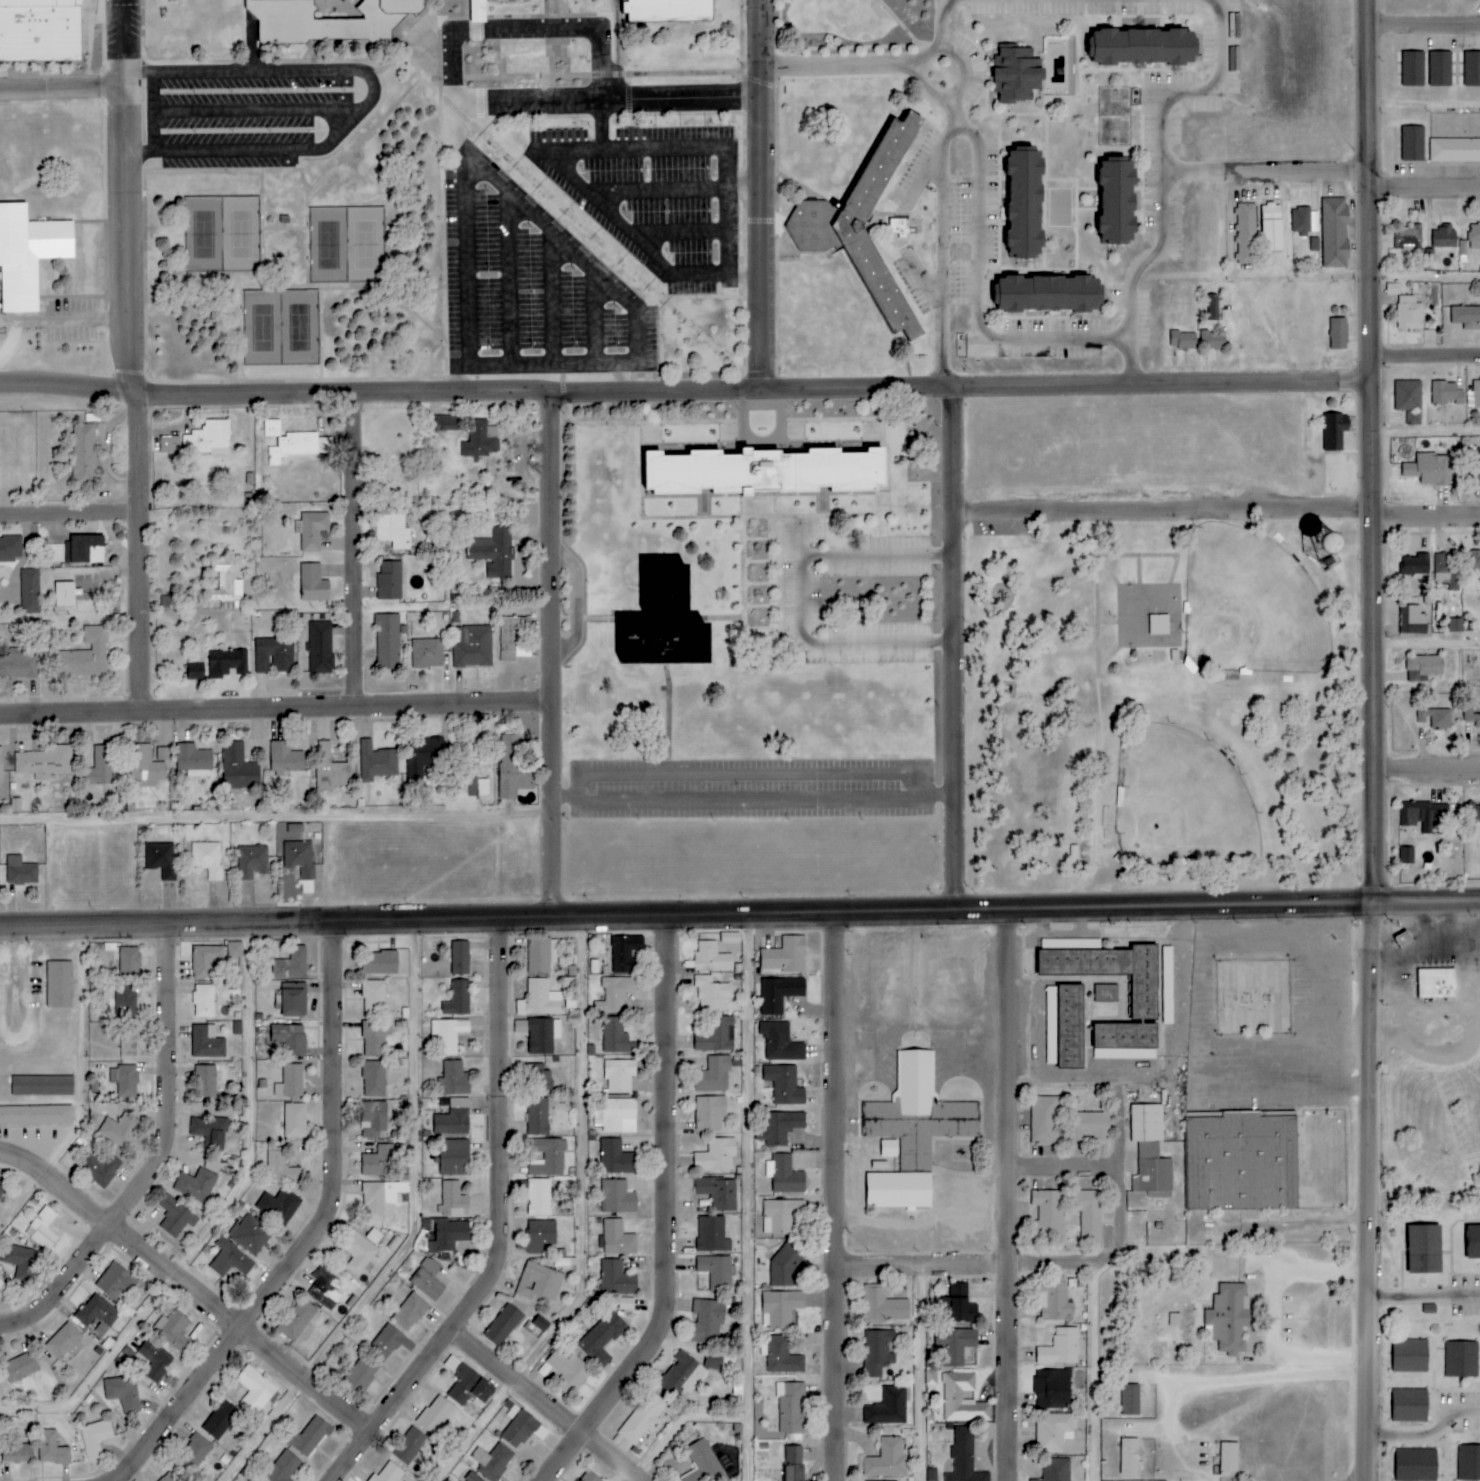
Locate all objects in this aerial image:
building: (669, 10)
building: (473, 11)
building: (294, 22)
road: (940, 22)
road: (1422, 23)
road: (525, 29)
building: (40, 30)
road: (412, 36)
road: (122, 43)
building: (1141, 48)
road: (309, 53)
road: (420, 53)
road: (621, 62)
road: (839, 65)
building: (1413, 69)
building: (1440, 69)
building: (1472, 69)
road: (278, 71)
road: (137, 73)
road: (639, 74)
building: (1016, 75)
road: (478, 78)
road: (1365, 85)
road: (61, 88)
road: (382, 89)
road: (956, 89)
road: (1191, 89)
road: (678, 99)
road: (527, 102)
road: (1423, 104)
road: (258, 110)
road: (151, 113)
parking lot: (251, 114)
road: (454, 122)
road: (600, 124)
road: (956, 131)
building: (1412, 144)
road: (696, 146)
building: (1454, 150)
road: (266, 151)
road: (137, 153)
road: (235, 171)
road: (1279, 174)
road: (742, 182)
road: (1423, 188)
road: (655, 190)
road: (759, 195)
building: (1115, 203)
parking lot: (569, 205)
building: (1023, 205)
road: (260, 220)
building: (1301, 221)
road: (305, 224)
building: (899, 228)
building: (1271, 228)
road: (283, 229)
building: (863, 230)
road: (677, 233)
building: (1334, 233)
park: (220, 234)
building: (1246, 234)
building: (1444, 236)
building: (1474, 236)
road: (442, 237)
road: (942, 238)
building: (1408, 239)
road: (637, 240)
road: (599, 244)
park: (345, 245)
building: (1314, 245)
building: (1463, 248)
road: (1153, 250)
building: (28, 254)
road: (464, 260)
road: (581, 260)
road: (1423, 277)
road: (508, 278)
road: (978, 295)
building: (1045, 295)
road: (551, 298)
road: (704, 298)
building: (1409, 313)
building: (1466, 316)
road: (593, 317)
parking lot: (70, 320)
road: (86, 320)
park: (279, 327)
building: (1338, 333)
building: (1213, 340)
building: (1183, 341)
road: (1424, 356)
road: (538, 365)
road: (458, 378)
road: (65, 385)
road: (957, 387)
road: (338, 393)
building: (1446, 393)
building: (1474, 396)
road: (132, 399)
building: (1409, 400)
building: (448, 422)
road: (745, 425)
building: (271, 428)
building: (1334, 431)
road: (1424, 431)
road: (747, 434)
building: (207, 439)
building: (481, 439)
building: (169, 444)
building: (299, 447)
building: (83, 453)
building: (1428, 469)
building: (765, 471)
building: (1474, 476)
road: (756, 508)
road: (1160, 510)
road: (69, 513)
road: (1425, 516)
building: (312, 531)
building: (392, 531)
water tower: (1319, 542)
building: (10, 549)
building: (84, 549)
road: (350, 550)
building: (497, 553)
building: (1474, 562)
road: (743, 564)
building: (1416, 565)
building: (1447, 570)
building: (389, 580)
building: (313, 584)
building: (226, 586)
building: (29, 591)
building: (65, 594)
parking lot: (801, 600)
road: (804, 600)
road: (574, 602)
park: (1250, 606)
road: (611, 619)
road: (714, 619)
building: (1412, 620)
building: (663, 622)
building: (1158, 624)
building: (1455, 625)
building: (506, 636)
building: (387, 641)
road: (1425, 644)
building: (472, 646)
building: (320, 648)
road: (952, 649)
building: (427, 653)
building: (273, 655)
road: (548, 655)
building: (84, 656)
building: (227, 663)
building: (18, 665)
building: (1425, 665)
building: (194, 671)
road: (274, 708)
park: (1161, 708)
road: (667, 711)
building: (1471, 716)
building: (1435, 718)
building: (193, 760)
building: (284, 760)
building: (376, 761)
building: (44, 762)
building: (0, 765)
building: (101, 766)
building: (145, 767)
building: (237, 768)
building: (513, 768)
road: (1425, 768)
building: (329, 770)
road: (747, 773)
building: (470, 787)
building: (484, 787)
parking lot: (750, 789)
road: (750, 797)
park: (1180, 800)
building: (1475, 813)
building: (1424, 815)
road: (274, 818)
road: (1371, 826)
building: (294, 829)
building: (1407, 855)
building: (299, 858)
building: (161, 859)
building: (207, 859)
building: (251, 862)
building: (20, 871)
building: (307, 887)
road: (739, 914)
building: (234, 949)
building: (624, 953)
building: (541, 955)
building: (784, 955)
building: (459, 957)
building: (711, 957)
building: (205, 960)
building: (378, 962)
building: (128, 963)
building: (290, 964)
building: (1106, 968)
building: (59, 984)
building: (1436, 984)
building: (615, 993)
building: (711, 993)
building: (779, 993)
building: (1106, 993)
building: (373, 998)
building: (457, 998)
building: (539, 999)
building: (203, 1001)
building: (291, 1002)
building: (1063, 1025)
building: (236, 1028)
building: (539, 1034)
building: (448, 1035)
building: (716, 1035)
building: (374, 1037)
building: (616, 1037)
building: (289, 1039)
building: (1124, 1041)
road: (21, 1042)
building: (128, 1042)
building: (206, 1042)
building: (780, 1042)
building: (713, 1074)
building: (539, 1076)
building: (619, 1076)
building: (126, 1077)
building: (453, 1078)
building: (373, 1079)
building: (290, 1081)
building: (206, 1082)
building: (784, 1084)
building: (41, 1085)
road: (88, 1091)
building: (709, 1112)
building: (919, 1113)
building: (35, 1115)
building: (537, 1116)
building: (617, 1116)
building: (374, 1118)
building: (453, 1119)
building: (294, 1120)
building: (1044, 1120)
building: (1089, 1126)
building: (780, 1127)
building: (119, 1130)
building: (209, 1130)
building: (889, 1148)
building: (1150, 1152)
building: (716, 1155)
building: (453, 1157)
building: (547, 1157)
building: (616, 1158)
road: (162, 1160)
building: (1241, 1161)
building: (211, 1162)
building: (378, 1162)
road: (1068, 1167)
building: (280, 1168)
building: (784, 1175)
building: (195, 1185)
building: (1, 1187)
building: (898, 1190)
building: (718, 1193)
road: (1007, 1195)
building: (380, 1197)
building: (538, 1197)
building: (618, 1197)
road: (757, 1197)
road: (841, 1197)
building: (452, 1200)
building: (278, 1206)
building: (1048, 1213)
building: (1088, 1214)
building: (781, 1215)
building: (175, 1216)
road: (672, 1217)
road: (589, 1223)
road: (221, 1224)
road: (505, 1227)
building: (42, 1229)
road: (320, 1231)
road: (420, 1234)
building: (446, 1234)
building: (712, 1235)
building: (373, 1236)
building: (537, 1236)
building: (252, 1237)
building: (617, 1238)
building: (1473, 1242)
building: (394, 1243)
building: (1424, 1250)
building: (358, 1253)
building: (18, 1260)
building: (231, 1260)
road: (1107, 1260)
building: (784, 1266)
road: (1054, 1267)
road: (924, 1270)
building: (717, 1272)
building: (427, 1279)
building: (616, 1279)
building: (115, 1282)
building: (538, 1282)
building: (1, 1283)
road: (193, 1286)
building: (957, 1290)
building: (326, 1291)
building: (1055, 1300)
road: (1429, 1301)
building: (883, 1306)
building: (780, 1307)
building: (960, 1311)
building: (97, 1312)
building: (409, 1312)
building: (1229, 1318)
building: (297, 1320)
road: (1275, 1320)
building: (707, 1321)
building: (503, 1325)
building: (175, 1333)
building: (600, 1335)
building: (64, 1342)
building: (389, 1342)
building: (955, 1344)
building: (1060, 1348)
building: (878, 1352)
building: (782, 1356)
building: (1409, 1356)
building: (1460, 1359)
building: (156, 1365)
building: (18, 1368)
building: (564, 1370)
road: (1102, 1373)
building: (361, 1375)
building: (682, 1375)
road: (928, 1375)
building: (930, 1377)
building: (468, 1387)
building: (1051, 1388)
building: (255, 1391)
building: (121, 1392)
building: (953, 1396)
building: (1130, 1399)
road: (550, 1404)
building: (1409, 1405)
building: (790, 1407)
building: (888, 1407)
building: (510, 1408)
building: (435, 1415)
building: (643, 1417)
building: (219, 1420)
road: (1172, 1421)
road: (683, 1427)
building: (522, 1430)
building: (1053, 1432)
building: (308, 1436)
road: (1432, 1437)
building: (95, 1438)
building: (622, 1443)
building: (409, 1445)
building: (51, 1449)
building: (193, 1452)
building: (16, 1453)
building: (1129, 1456)
building: (964, 1457)
building: (1229, 1457)
building: (887, 1459)
building: (493, 1461)
building: (703, 1463)
building: (792, 1463)
building: (1468, 1463)
building: (1415, 1465)
building: (283, 1467)
building: (1055, 1469)
building: (388, 1473)
building: (172, 1476)
building: (588, 1477)
building: (472, 1478)
building: (255, 1479)

